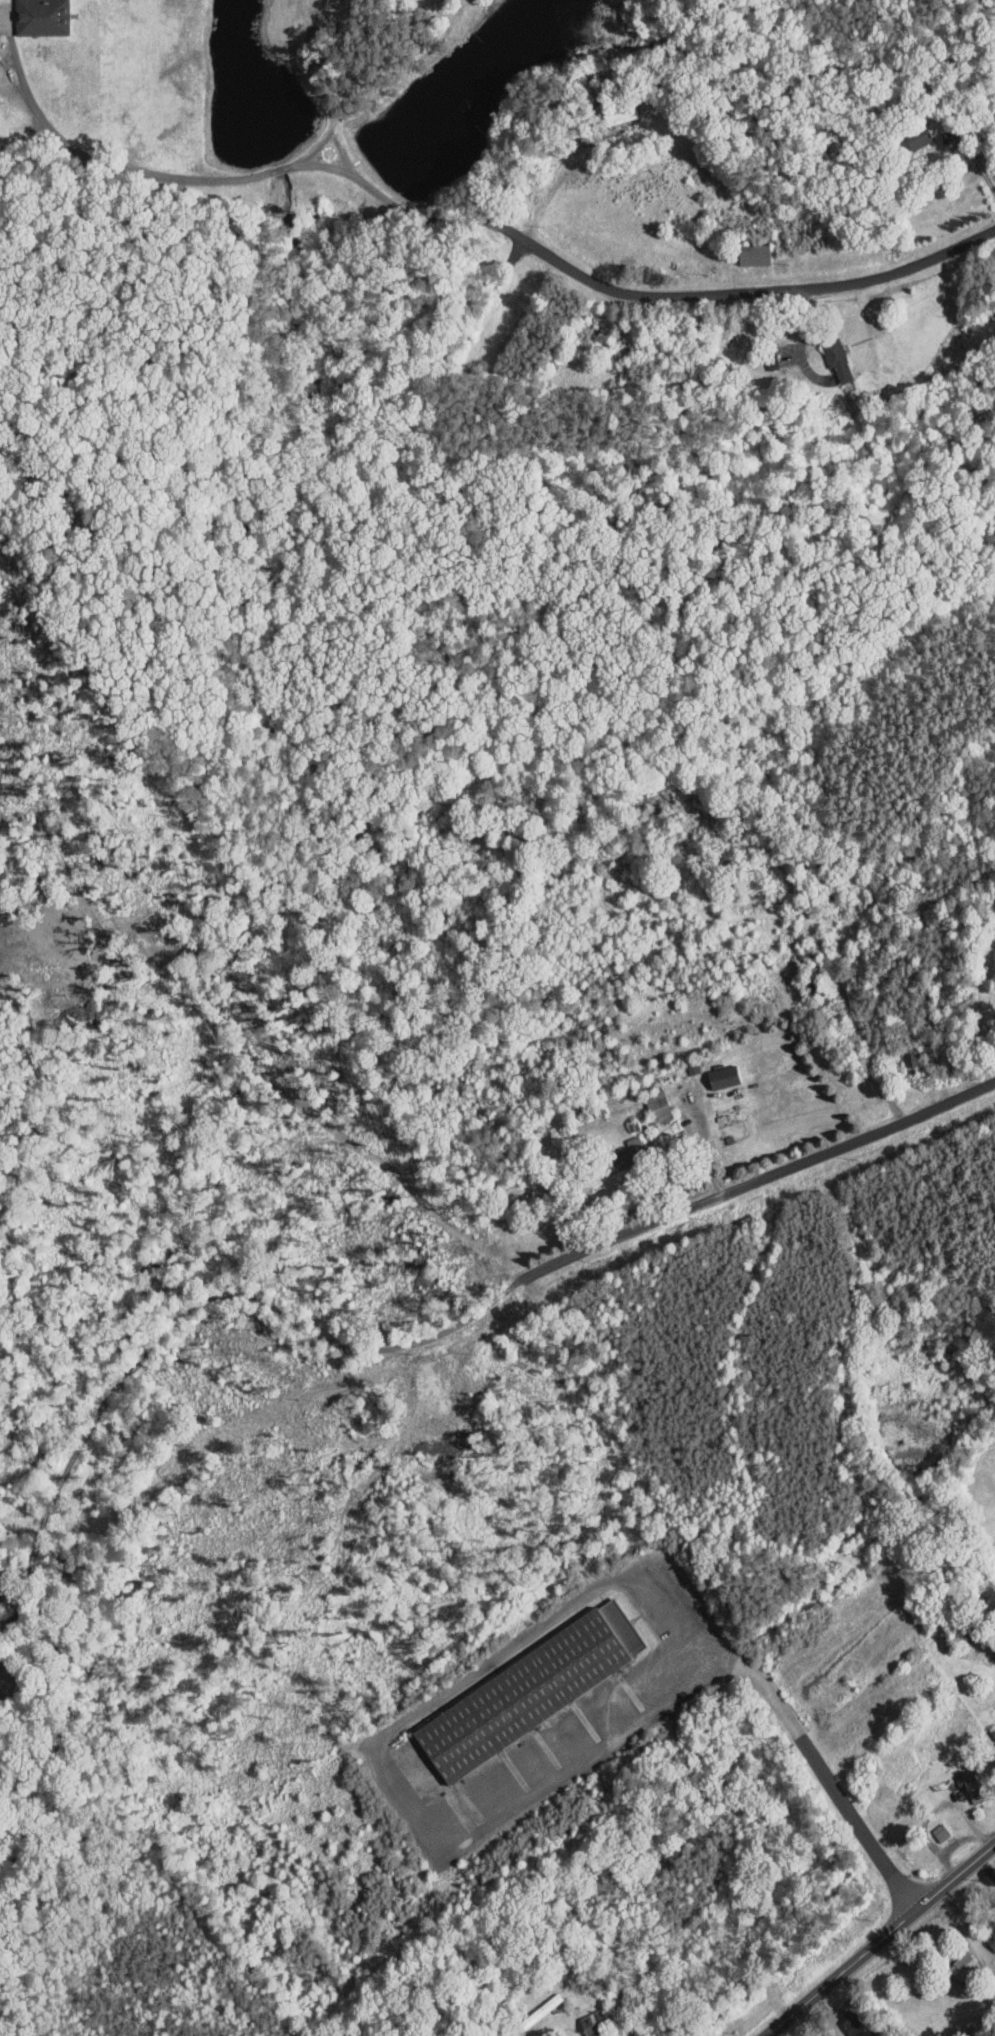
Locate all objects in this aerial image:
road: (991, 2)
building: (29, 14)
building: (608, 108)
building: (906, 129)
road: (978, 162)
road: (141, 173)
building: (742, 247)
road: (649, 296)
building: (824, 352)
building: (711, 1071)
building: (646, 1099)
building: (617, 1147)
road: (703, 1147)
road: (758, 1184)
road: (239, 1299)
road: (492, 1665)
building: (517, 1683)
building: (993, 1716)
road: (606, 1718)
building: (991, 1737)
building: (957, 1778)
road: (842, 1799)
road: (966, 1927)
building: (985, 1928)
road: (881, 1939)
building: (951, 1960)
building: (843, 2024)

